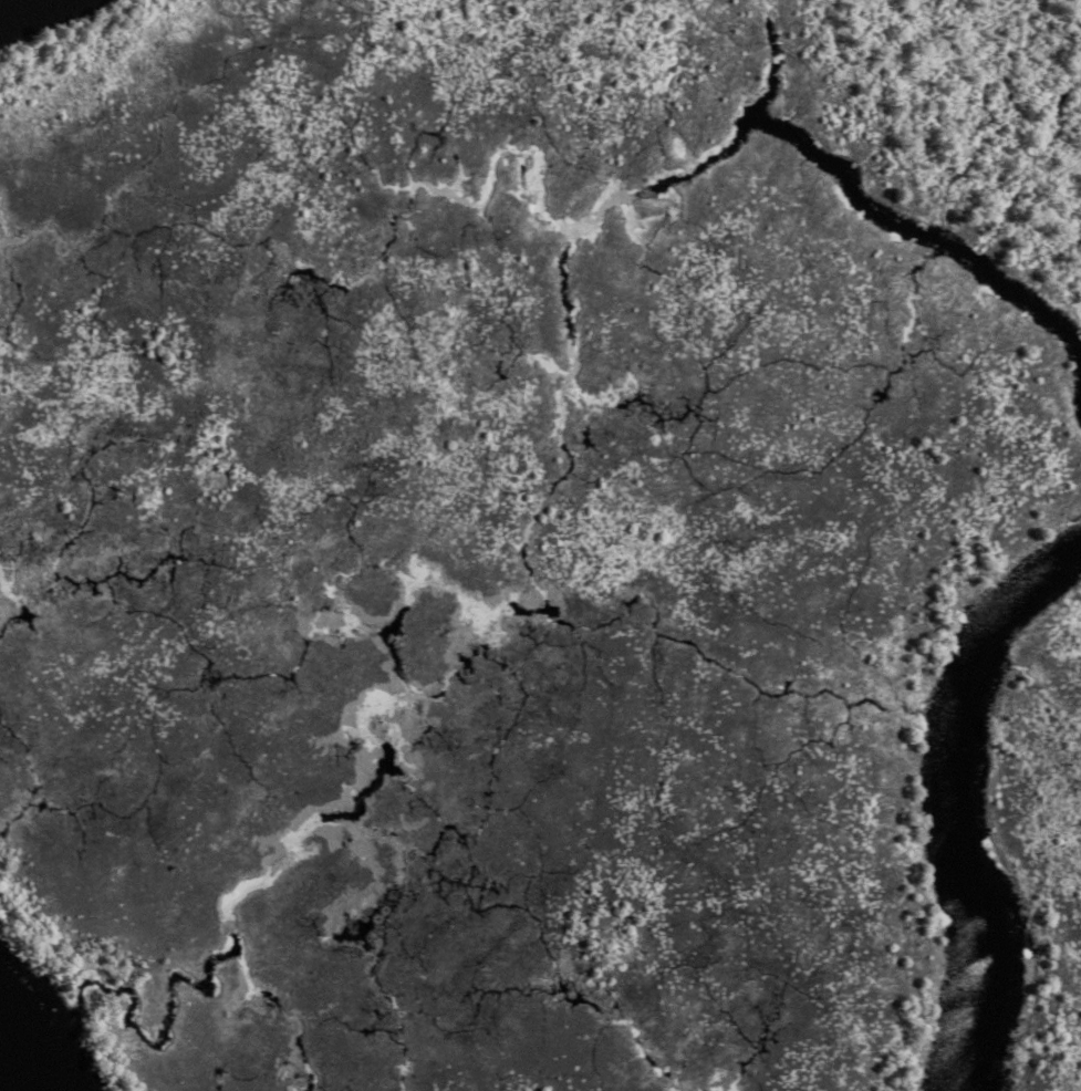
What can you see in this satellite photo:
river: (29, 11)

